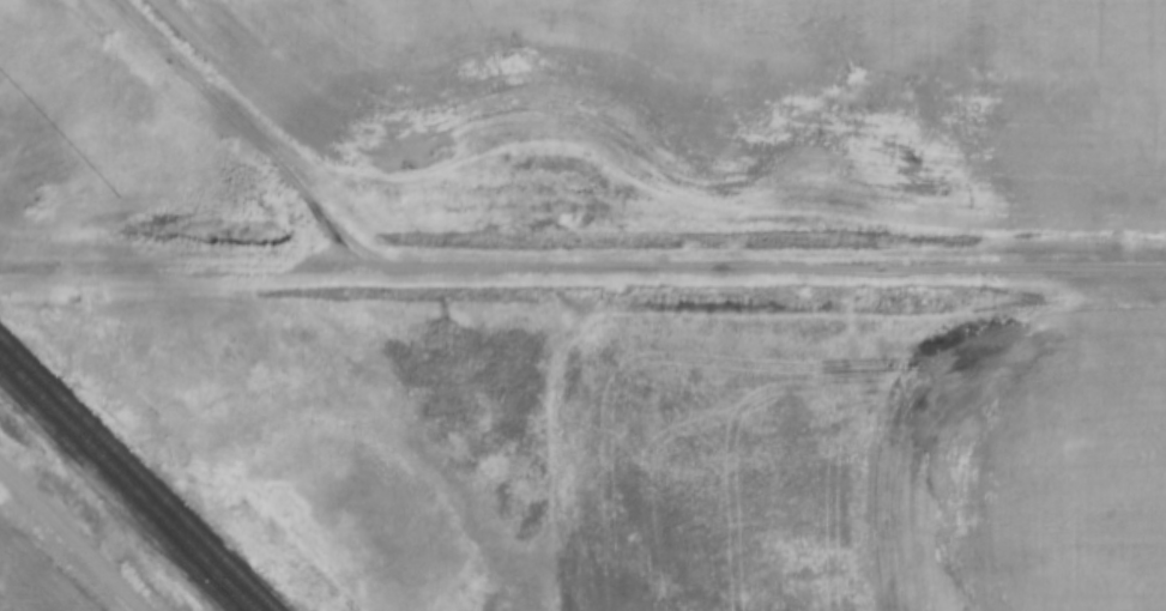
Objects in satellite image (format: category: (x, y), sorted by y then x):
road: (240, 131)
road: (187, 262)
road: (769, 273)
railway: (139, 472)
railway: (128, 483)
railway: (119, 492)
road: (67, 540)

